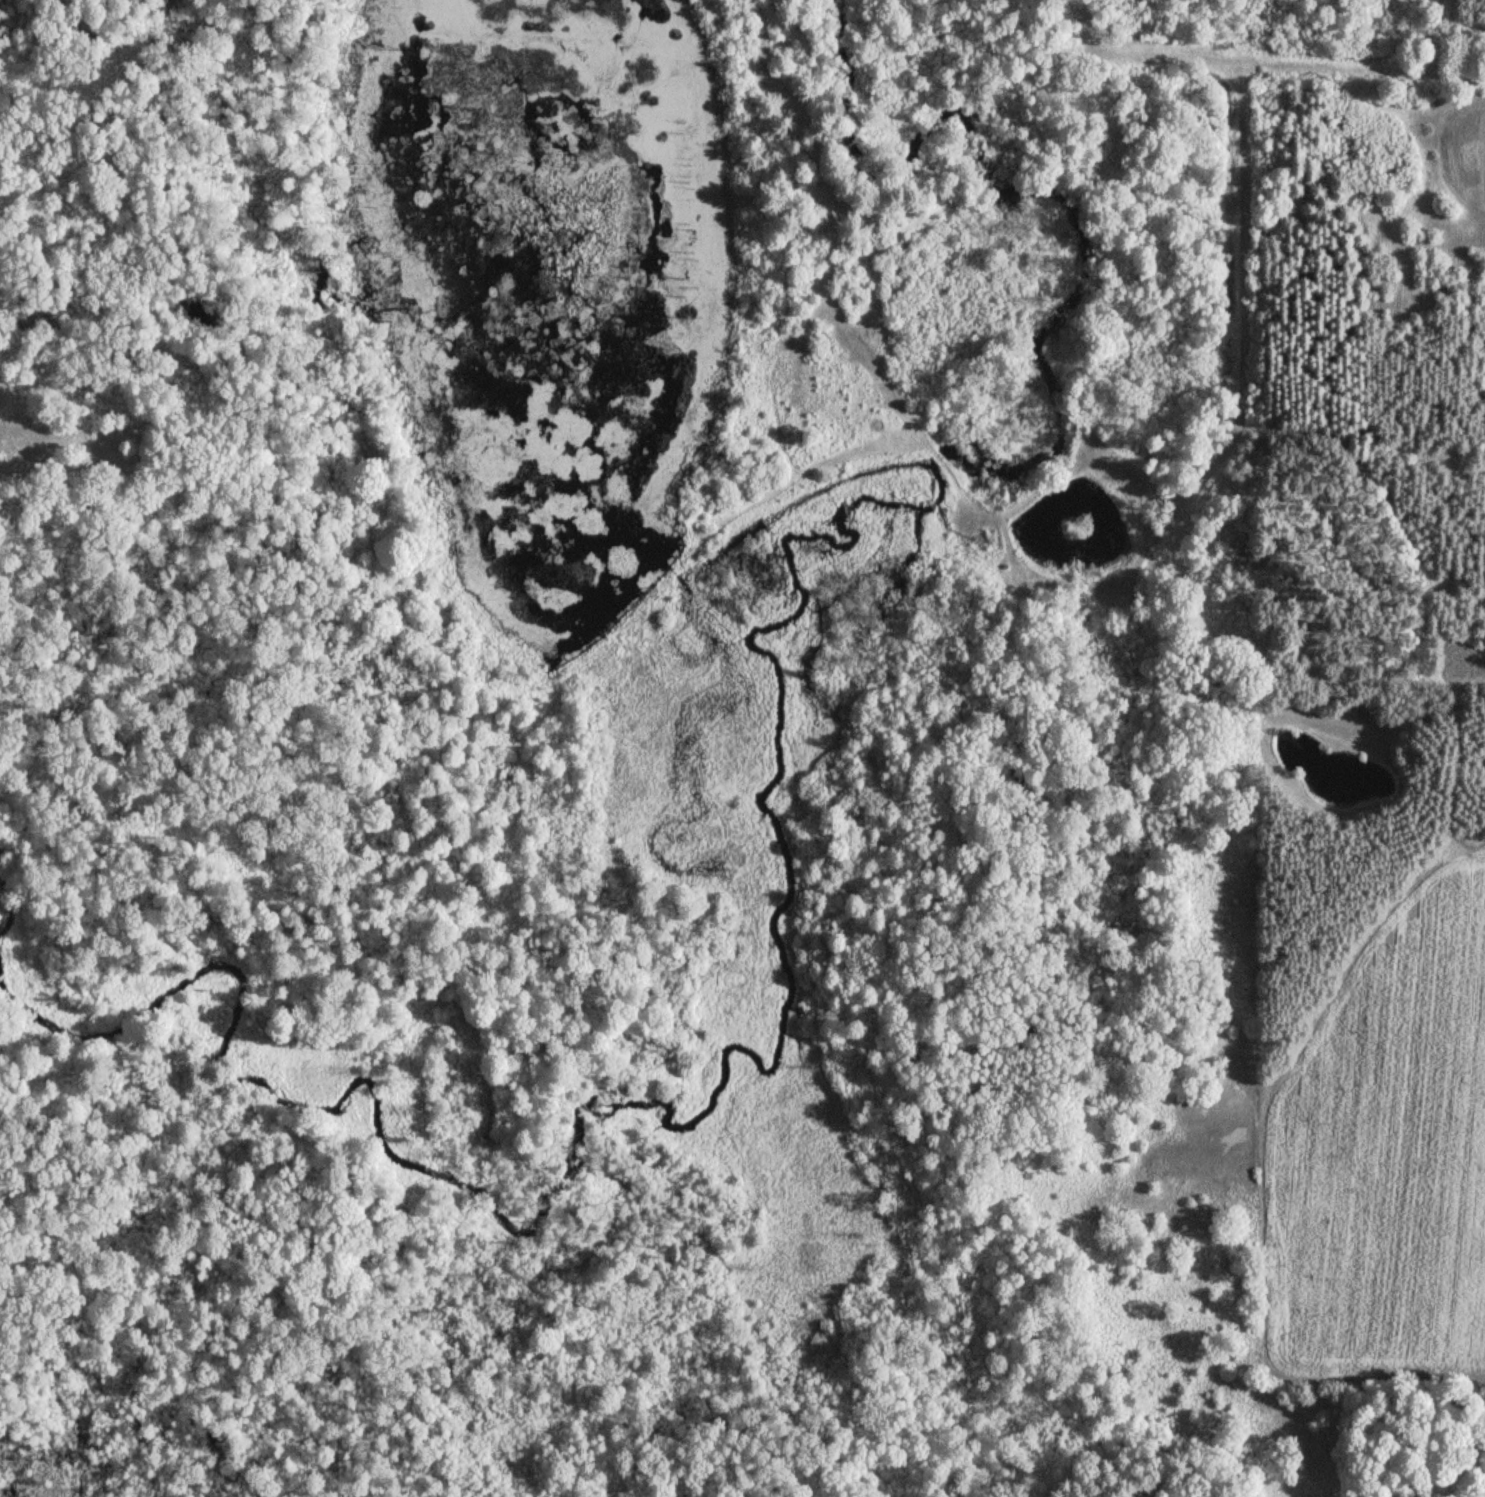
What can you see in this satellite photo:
road: (1248, 83)

